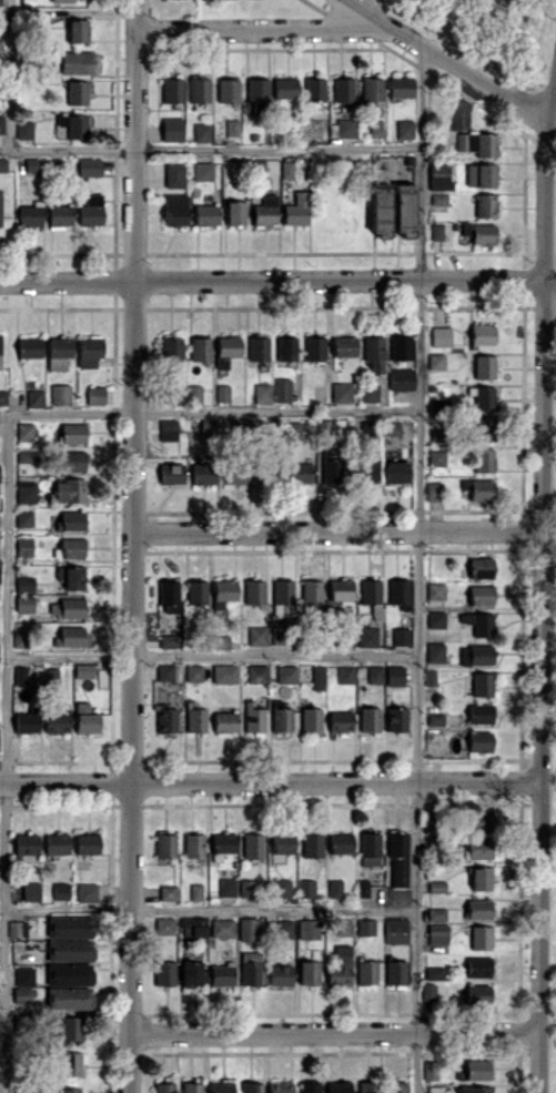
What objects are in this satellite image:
building: (69, 0)
building: (0, 4)
road: (370, 8)
road: (381, 11)
road: (252, 24)
building: (77, 30)
road: (445, 58)
building: (78, 62)
road: (11, 74)
building: (284, 87)
building: (400, 87)
building: (314, 89)
building: (342, 89)
building: (370, 89)
building: (172, 90)
building: (199, 90)
building: (226, 90)
building: (256, 90)
building: (75, 92)
building: (1, 123)
building: (231, 126)
building: (403, 128)
building: (23, 129)
building: (171, 129)
building: (202, 132)
building: (481, 143)
road: (210, 148)
building: (2, 163)
building: (32, 163)
road: (419, 163)
building: (89, 165)
building: (285, 169)
building: (202, 170)
building: (173, 174)
building: (481, 174)
building: (438, 175)
road: (544, 185)
building: (437, 198)
building: (0, 205)
building: (484, 205)
building: (174, 209)
building: (380, 209)
building: (403, 209)
building: (90, 210)
building: (264, 210)
building: (295, 210)
building: (234, 212)
building: (59, 214)
building: (205, 214)
building: (29, 215)
building: (436, 231)
building: (479, 233)
road: (270, 280)
road: (548, 281)
building: (482, 334)
building: (439, 336)
building: (343, 345)
building: (29, 346)
building: (171, 347)
building: (257, 347)
building: (285, 347)
building: (314, 347)
building: (400, 347)
building: (199, 348)
building: (88, 350)
building: (226, 350)
building: (0, 352)
building: (58, 352)
building: (373, 352)
building: (435, 361)
building: (484, 366)
building: (401, 378)
building: (281, 389)
building: (194, 392)
building: (341, 392)
building: (368, 392)
building: (222, 393)
building: (59, 394)
building: (94, 394)
building: (173, 394)
building: (2, 396)
building: (34, 397)
building: (483, 397)
road: (540, 406)
road: (210, 409)
building: (209, 424)
building: (482, 428)
building: (168, 429)
building: (24, 431)
building: (292, 431)
building: (71, 433)
building: (27, 455)
building: (435, 457)
building: (71, 459)
building: (483, 459)
building: (365, 467)
building: (331, 469)
building: (266, 472)
building: (395, 472)
building: (171, 473)
building: (202, 473)
building: (299, 473)
building: (235, 474)
building: (478, 488)
building: (69, 489)
building: (433, 490)
building: (24, 492)
building: (23, 518)
building: (70, 519)
road: (337, 530)
building: (23, 546)
road: (134, 546)
building: (72, 547)
building: (479, 567)
building: (71, 576)
building: (23, 584)
building: (340, 588)
building: (224, 589)
building: (368, 590)
building: (434, 590)
building: (195, 591)
building: (253, 591)
building: (311, 591)
building: (397, 593)
building: (479, 595)
building: (169, 596)
building: (281, 597)
building: (23, 604)
building: (71, 607)
building: (435, 618)
building: (478, 623)
building: (256, 635)
building: (71, 636)
building: (366, 636)
building: (400, 636)
building: (18, 638)
building: (166, 640)
building: (434, 651)
road: (69, 652)
road: (275, 655)
building: (475, 655)
road: (539, 656)
building: (82, 670)
building: (164, 671)
building: (193, 672)
building: (224, 672)
building: (20, 674)
building: (256, 674)
building: (285, 674)
building: (374, 674)
building: (344, 675)
building: (393, 675)
building: (316, 677)
building: (482, 684)
road: (416, 686)
building: (479, 714)
building: (280, 716)
building: (194, 717)
building: (55, 718)
building: (84, 718)
building: (165, 718)
building: (252, 718)
building: (310, 718)
building: (368, 718)
building: (395, 718)
building: (434, 718)
building: (26, 720)
building: (340, 720)
building: (224, 721)
building: (478, 740)
road: (4, 752)
road: (270, 780)
building: (478, 819)
building: (55, 842)
building: (87, 842)
building: (281, 842)
building: (340, 842)
building: (26, 843)
building: (222, 843)
building: (165, 844)
building: (193, 844)
building: (252, 844)
building: (312, 844)
building: (368, 848)
building: (478, 848)
building: (396, 859)
building: (479, 878)
building: (435, 885)
building: (226, 887)
building: (246, 887)
building: (361, 887)
building: (279, 888)
building: (305, 888)
building: (334, 888)
building: (60, 890)
building: (30, 891)
building: (85, 891)
building: (195, 891)
building: (166, 892)
road: (539, 905)
building: (478, 909)
road: (209, 910)
building: (435, 913)
building: (69, 925)
building: (163, 925)
building: (193, 925)
building: (341, 927)
building: (365, 927)
building: (17, 928)
building: (221, 928)
building: (284, 928)
building: (307, 928)
building: (247, 929)
building: (395, 930)
building: (437, 933)
building: (479, 937)
building: (69, 949)
building: (340, 967)
building: (477, 967)
building: (250, 968)
building: (395, 971)
building: (164, 972)
building: (191, 972)
building: (307, 972)
building: (366, 972)
building: (433, 972)
building: (69, 973)
building: (221, 974)
building: (280, 974)
building: (23, 975)
building: (427, 991)
building: (21, 994)
building: (477, 994)
building: (69, 998)
building: (21, 1022)
building: (69, 1028)
road: (333, 1032)
road: (537, 1062)
building: (68, 1063)
building: (476, 1069)
building: (429, 1070)
building: (191, 1086)
building: (220, 1086)
building: (280, 1086)
building: (309, 1086)
building: (338, 1086)
building: (364, 1086)
building: (395, 1086)
building: (163, 1087)
building: (250, 1087)
building: (434, 1089)
building: (472, 1089)
building: (70, 1090)

